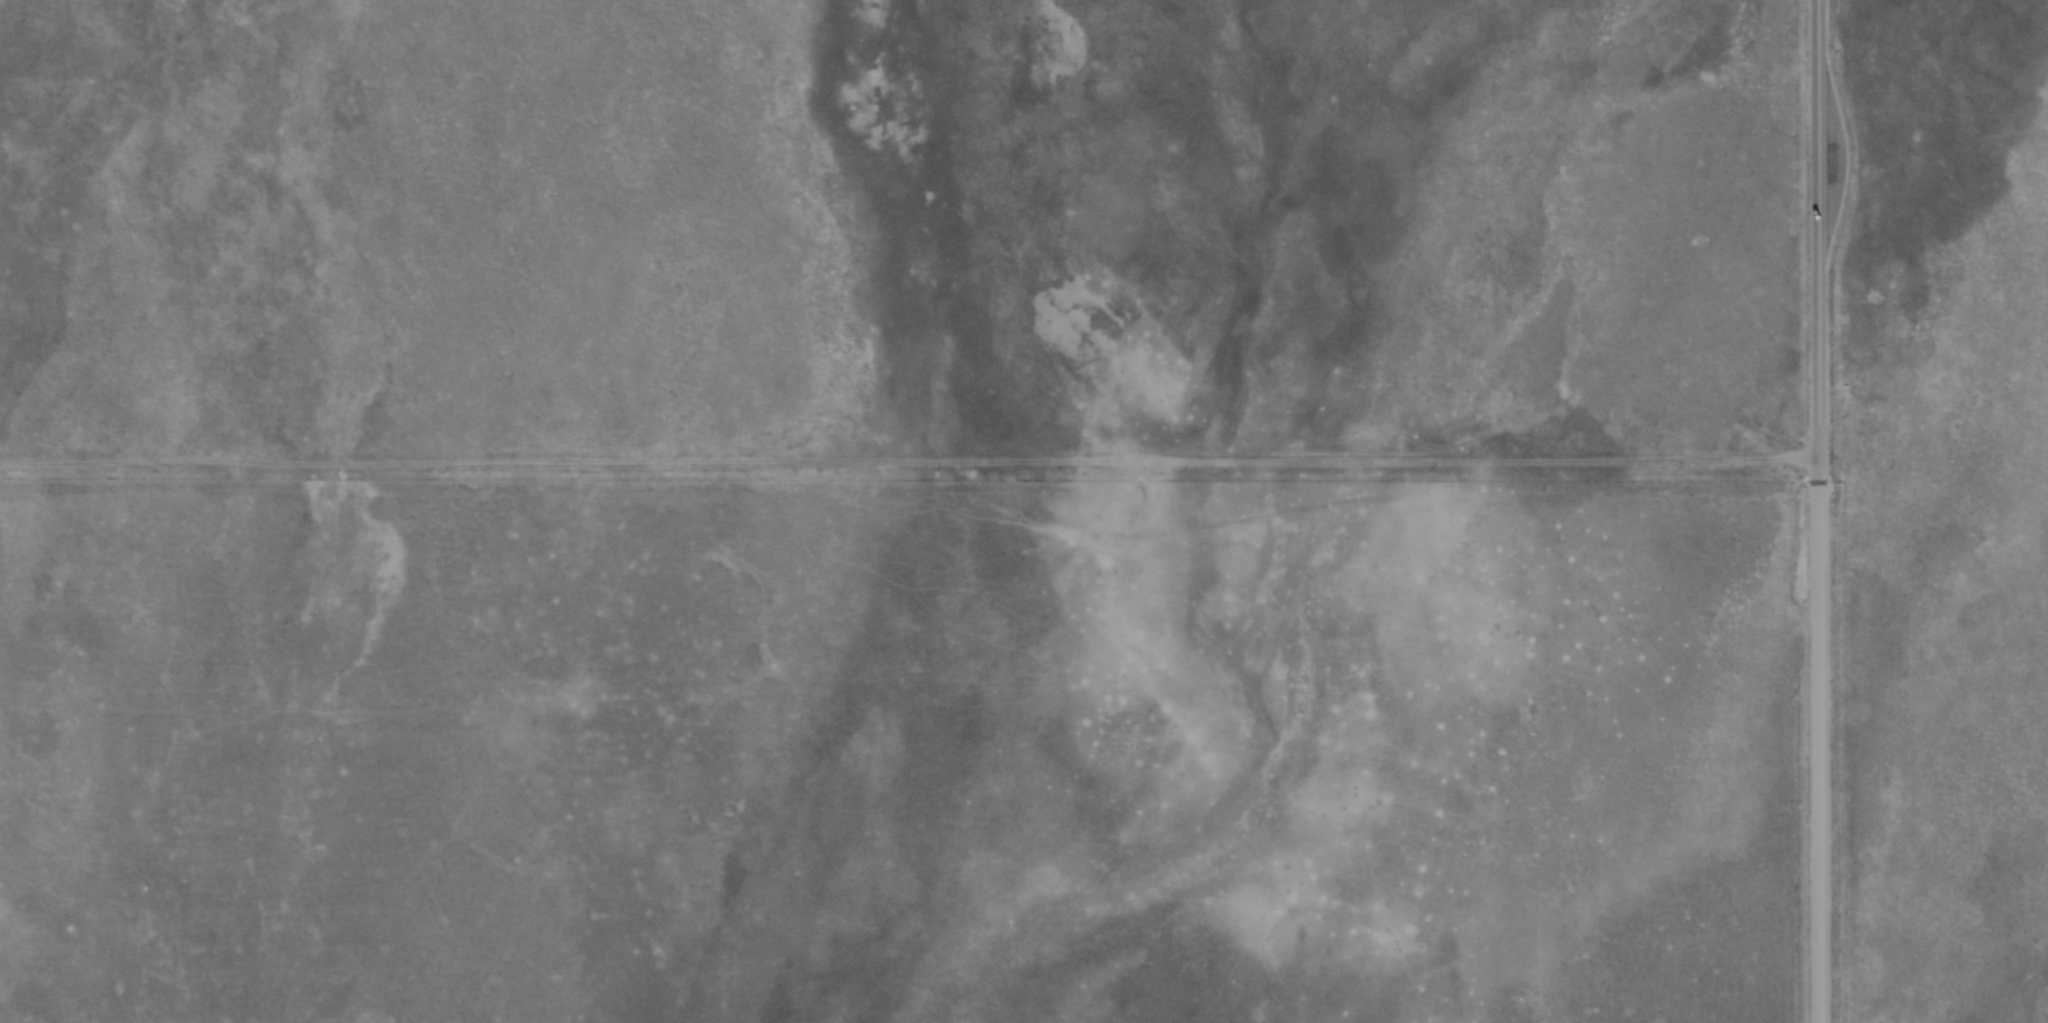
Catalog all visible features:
road: (1815, 242)
road: (1817, 754)

